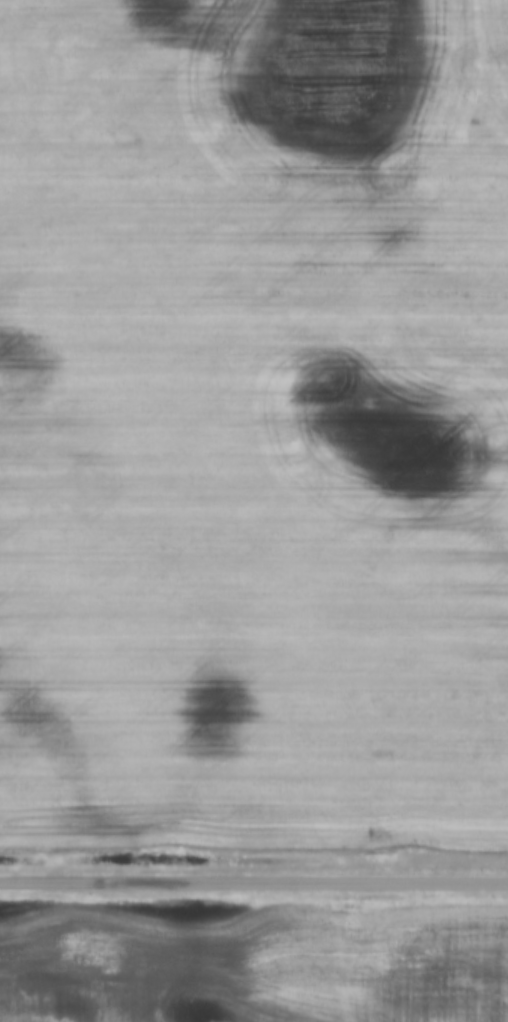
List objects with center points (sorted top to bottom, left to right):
road: (253, 883)

